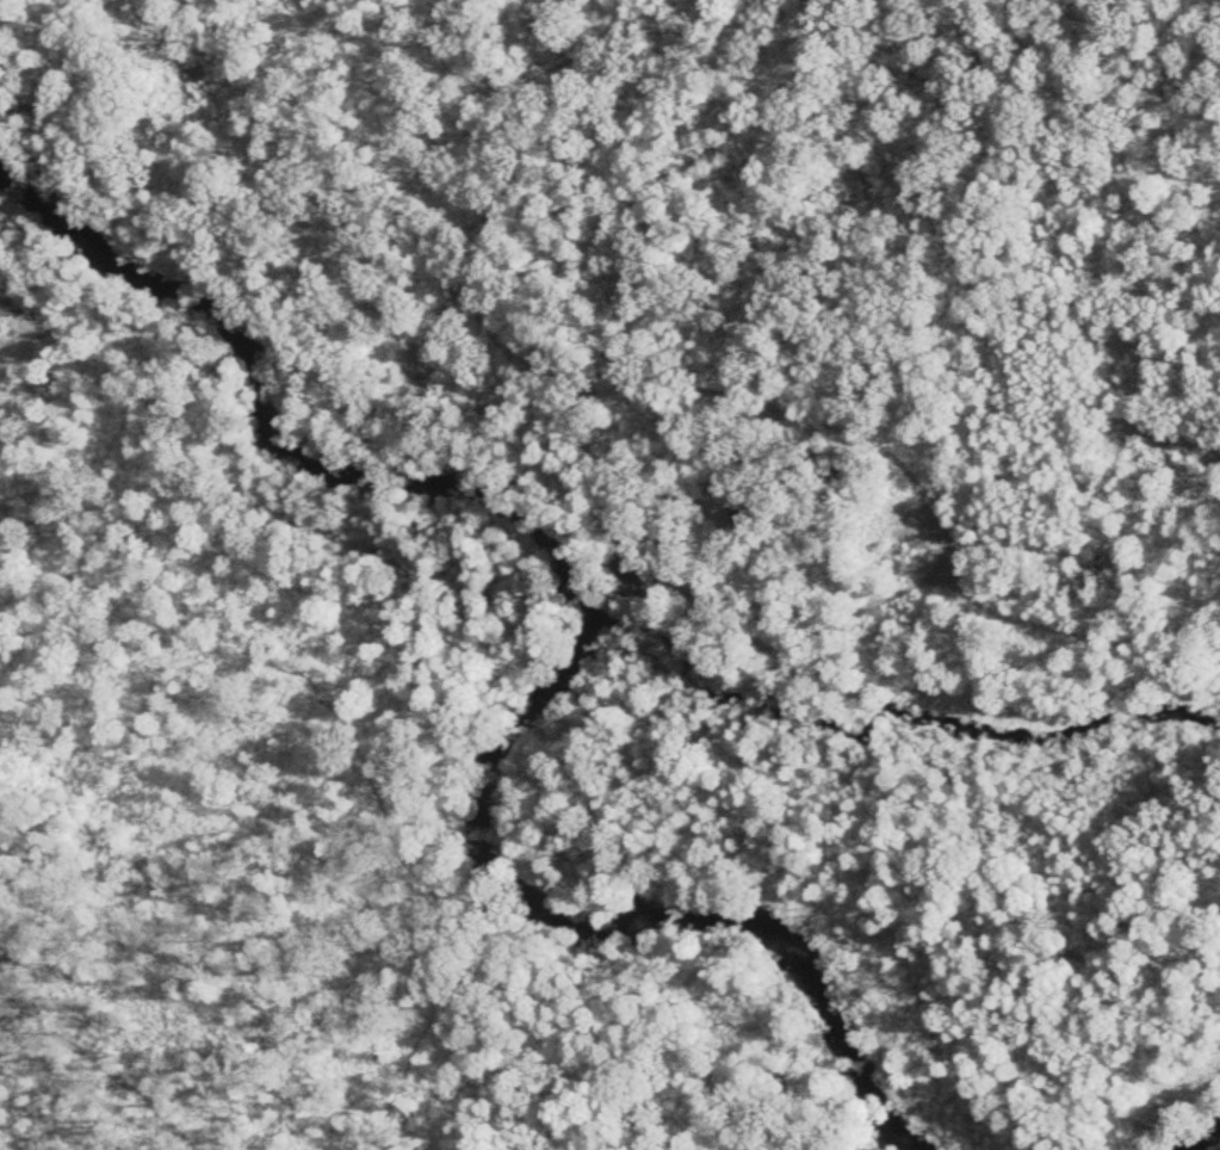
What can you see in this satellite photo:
river: (588, 632)
river: (1202, 1127)

